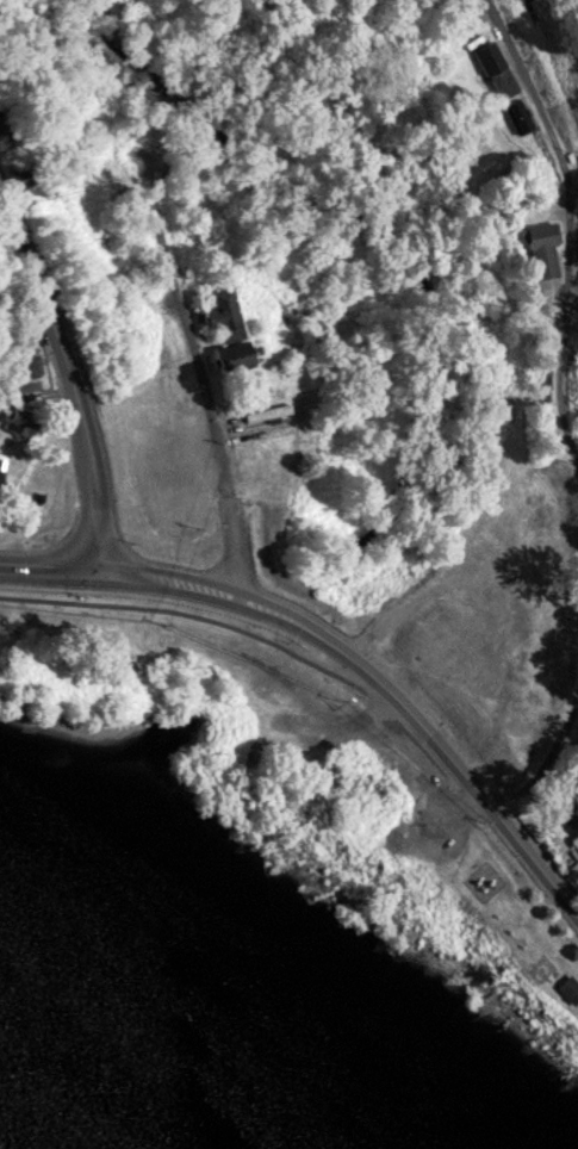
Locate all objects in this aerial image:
building: (399, 0)
building: (495, 69)
building: (517, 117)
building: (1, 136)
road: (577, 226)
building: (539, 235)
building: (222, 315)
building: (238, 354)
building: (24, 369)
road: (74, 379)
building: (267, 411)
building: (1, 458)
road: (197, 460)
road: (52, 570)
road: (249, 634)
road: (327, 641)
road: (548, 756)
road: (535, 859)
building: (568, 988)

